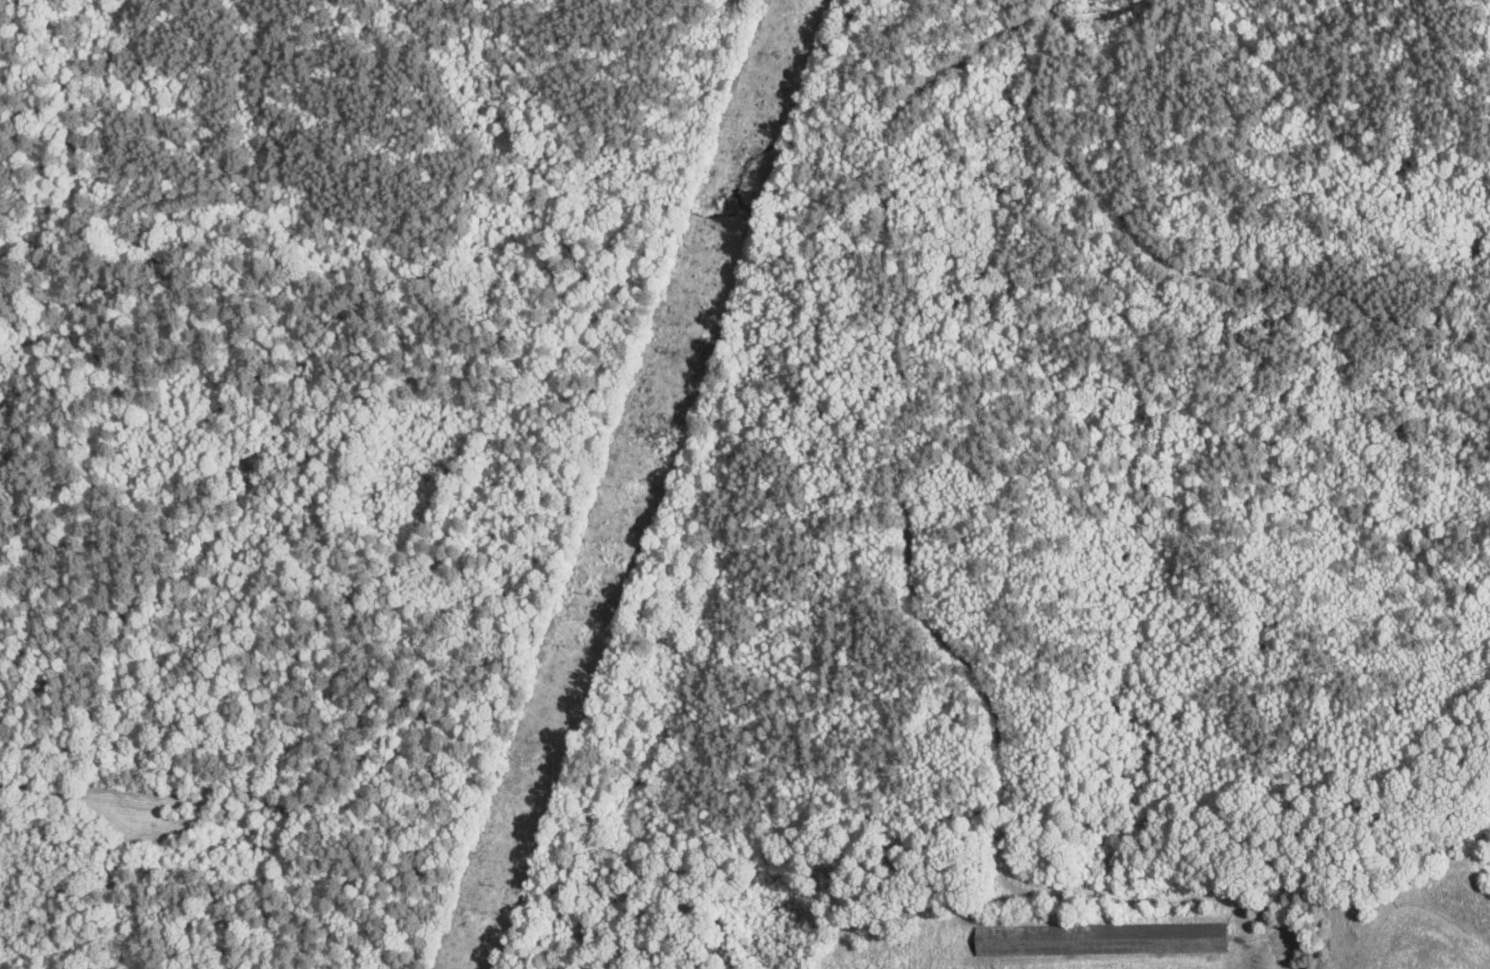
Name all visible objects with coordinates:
power tower: (783, 53)
power tower: (681, 349)
power tower: (596, 595)
power tower: (494, 881)
building: (995, 938)
road: (1247, 965)

